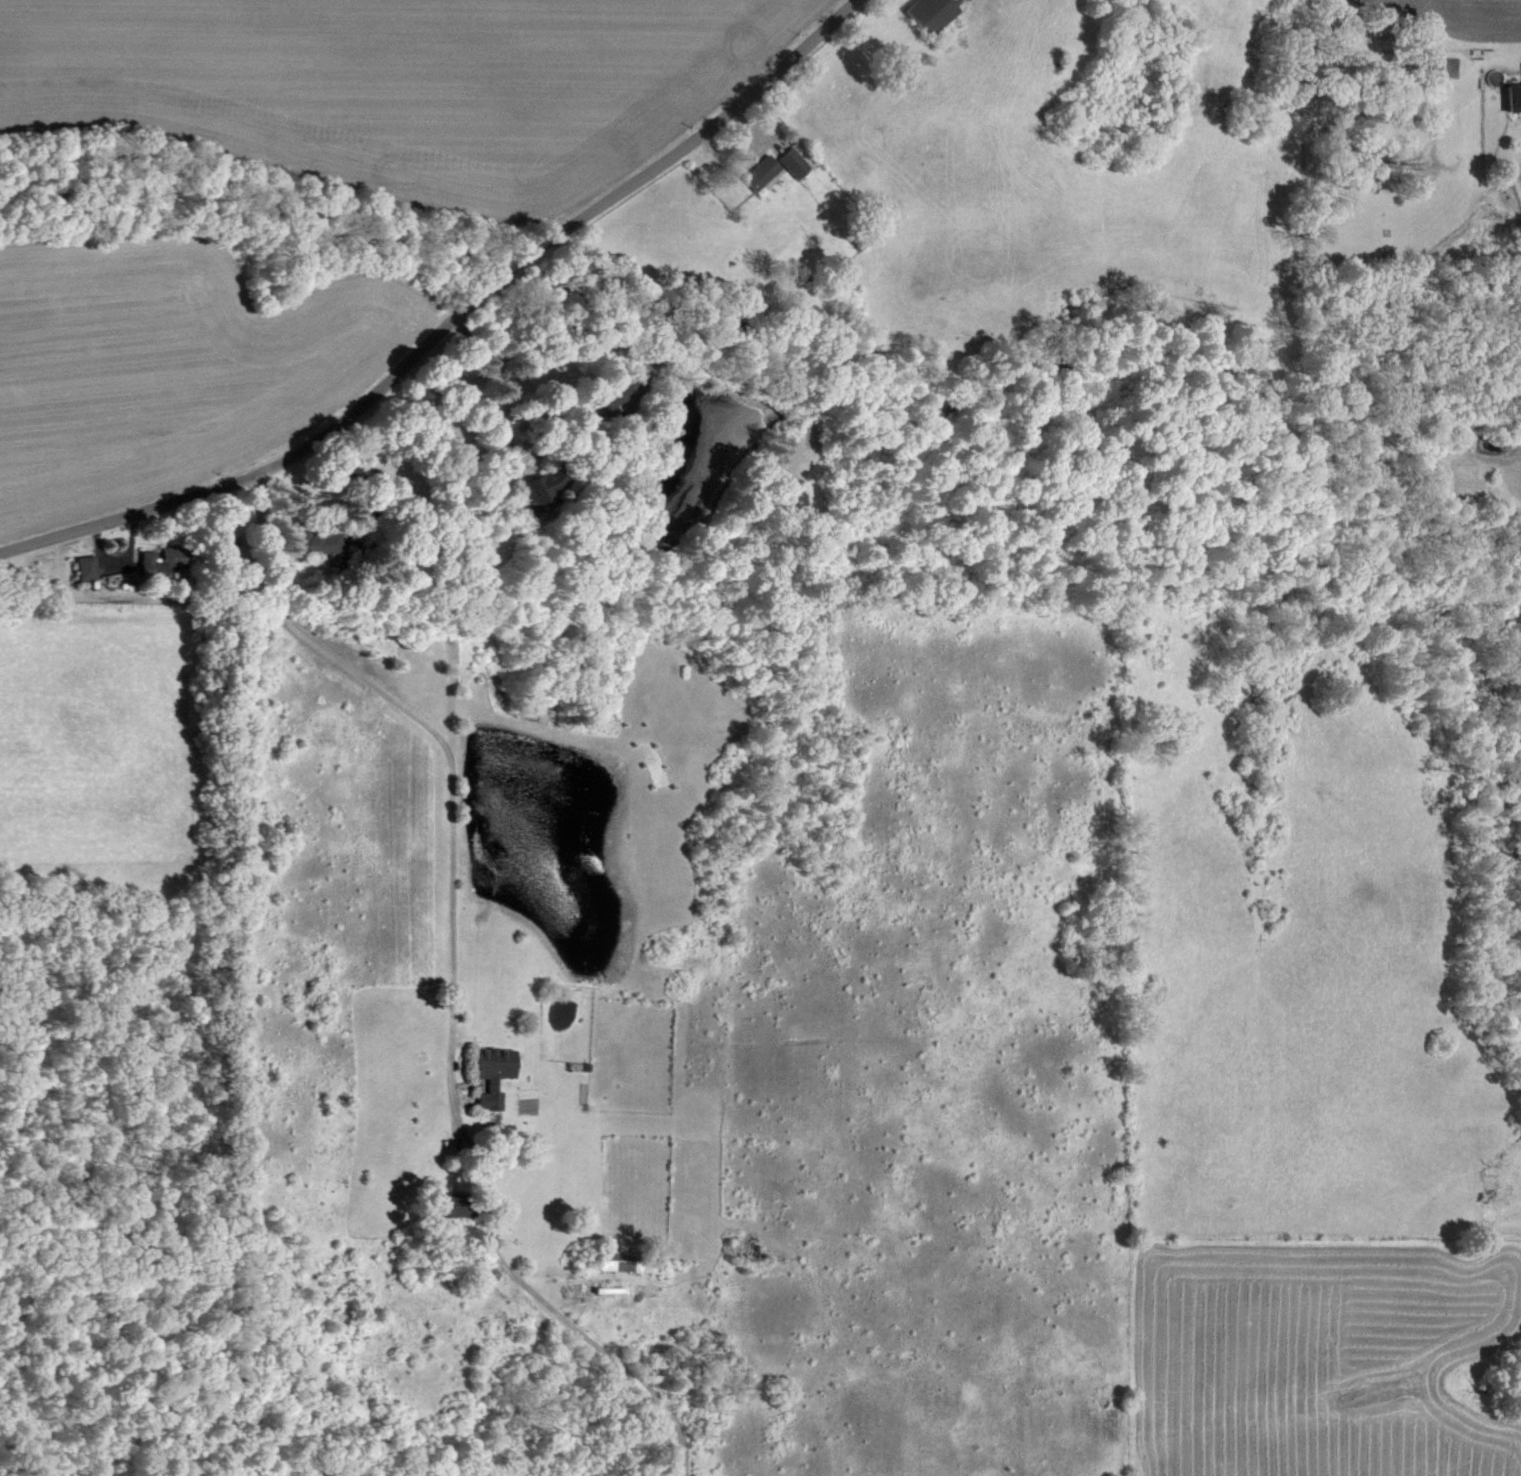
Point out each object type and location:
building: (931, 15)
building: (1510, 95)
building: (794, 163)
building: (764, 172)
road: (449, 319)
road: (259, 539)
building: (151, 563)
building: (90, 568)
road: (451, 1042)
building: (498, 1075)
building: (460, 1206)
building: (632, 1262)

